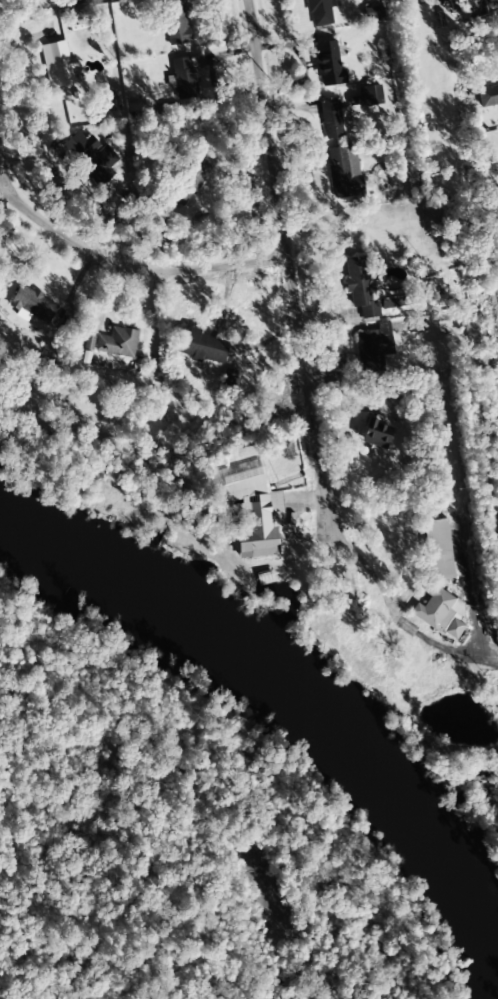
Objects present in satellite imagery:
building: (90, 1)
building: (319, 12)
building: (373, 14)
building: (175, 22)
building: (327, 63)
building: (58, 64)
building: (185, 77)
building: (369, 96)
building: (487, 96)
building: (332, 118)
building: (91, 157)
building: (344, 171)
building: (195, 175)
road: (285, 265)
road: (131, 270)
building: (366, 290)
building: (33, 304)
building: (89, 342)
building: (117, 342)
building: (200, 346)
building: (373, 347)
building: (375, 434)
building: (250, 505)
building: (437, 549)
building: (442, 613)
river: (308, 707)

